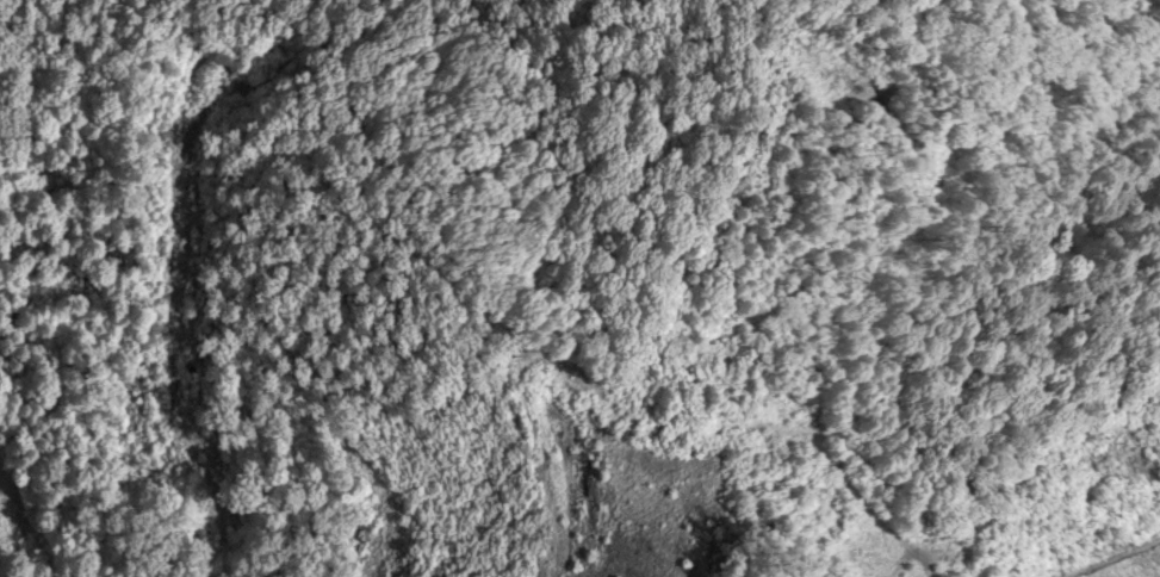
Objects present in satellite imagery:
road: (132, 284)
quarry: (703, 517)

